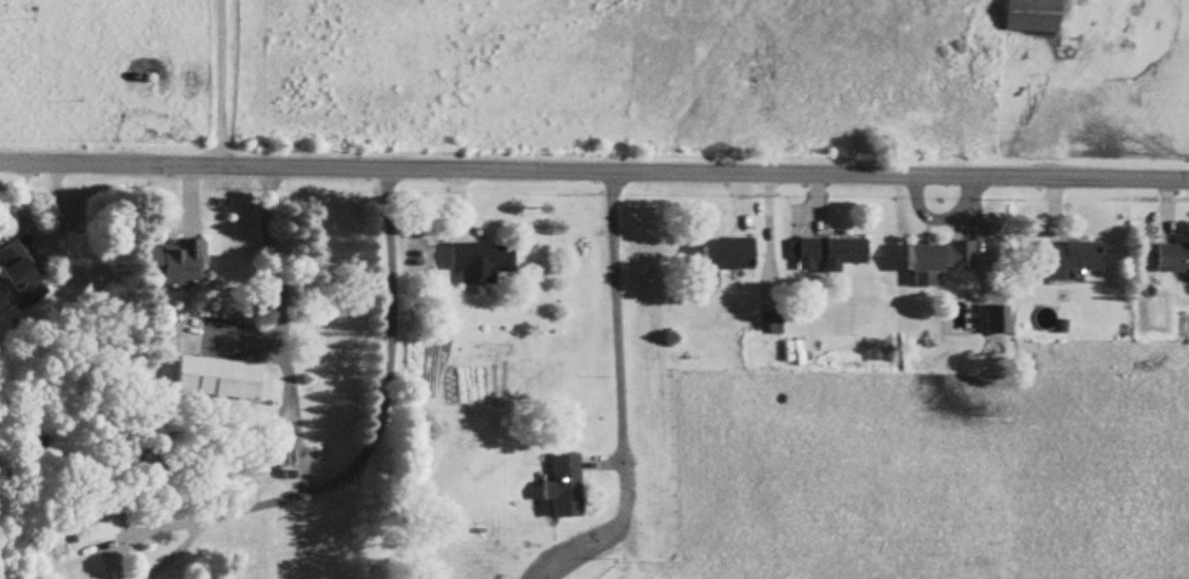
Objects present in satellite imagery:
building: (1032, 16)
road: (216, 84)
crop: (523, 85)
road: (989, 89)
road: (593, 171)
building: (829, 255)
building: (729, 257)
building: (1074, 259)
building: (1173, 260)
building: (480, 262)
building: (938, 262)
building: (177, 265)
building: (22, 274)
road: (618, 314)
building: (997, 322)
building: (770, 324)
road: (278, 331)
building: (218, 379)
road: (381, 405)
crop: (923, 472)
building: (563, 486)
building: (91, 526)
road: (133, 533)
road: (172, 554)

